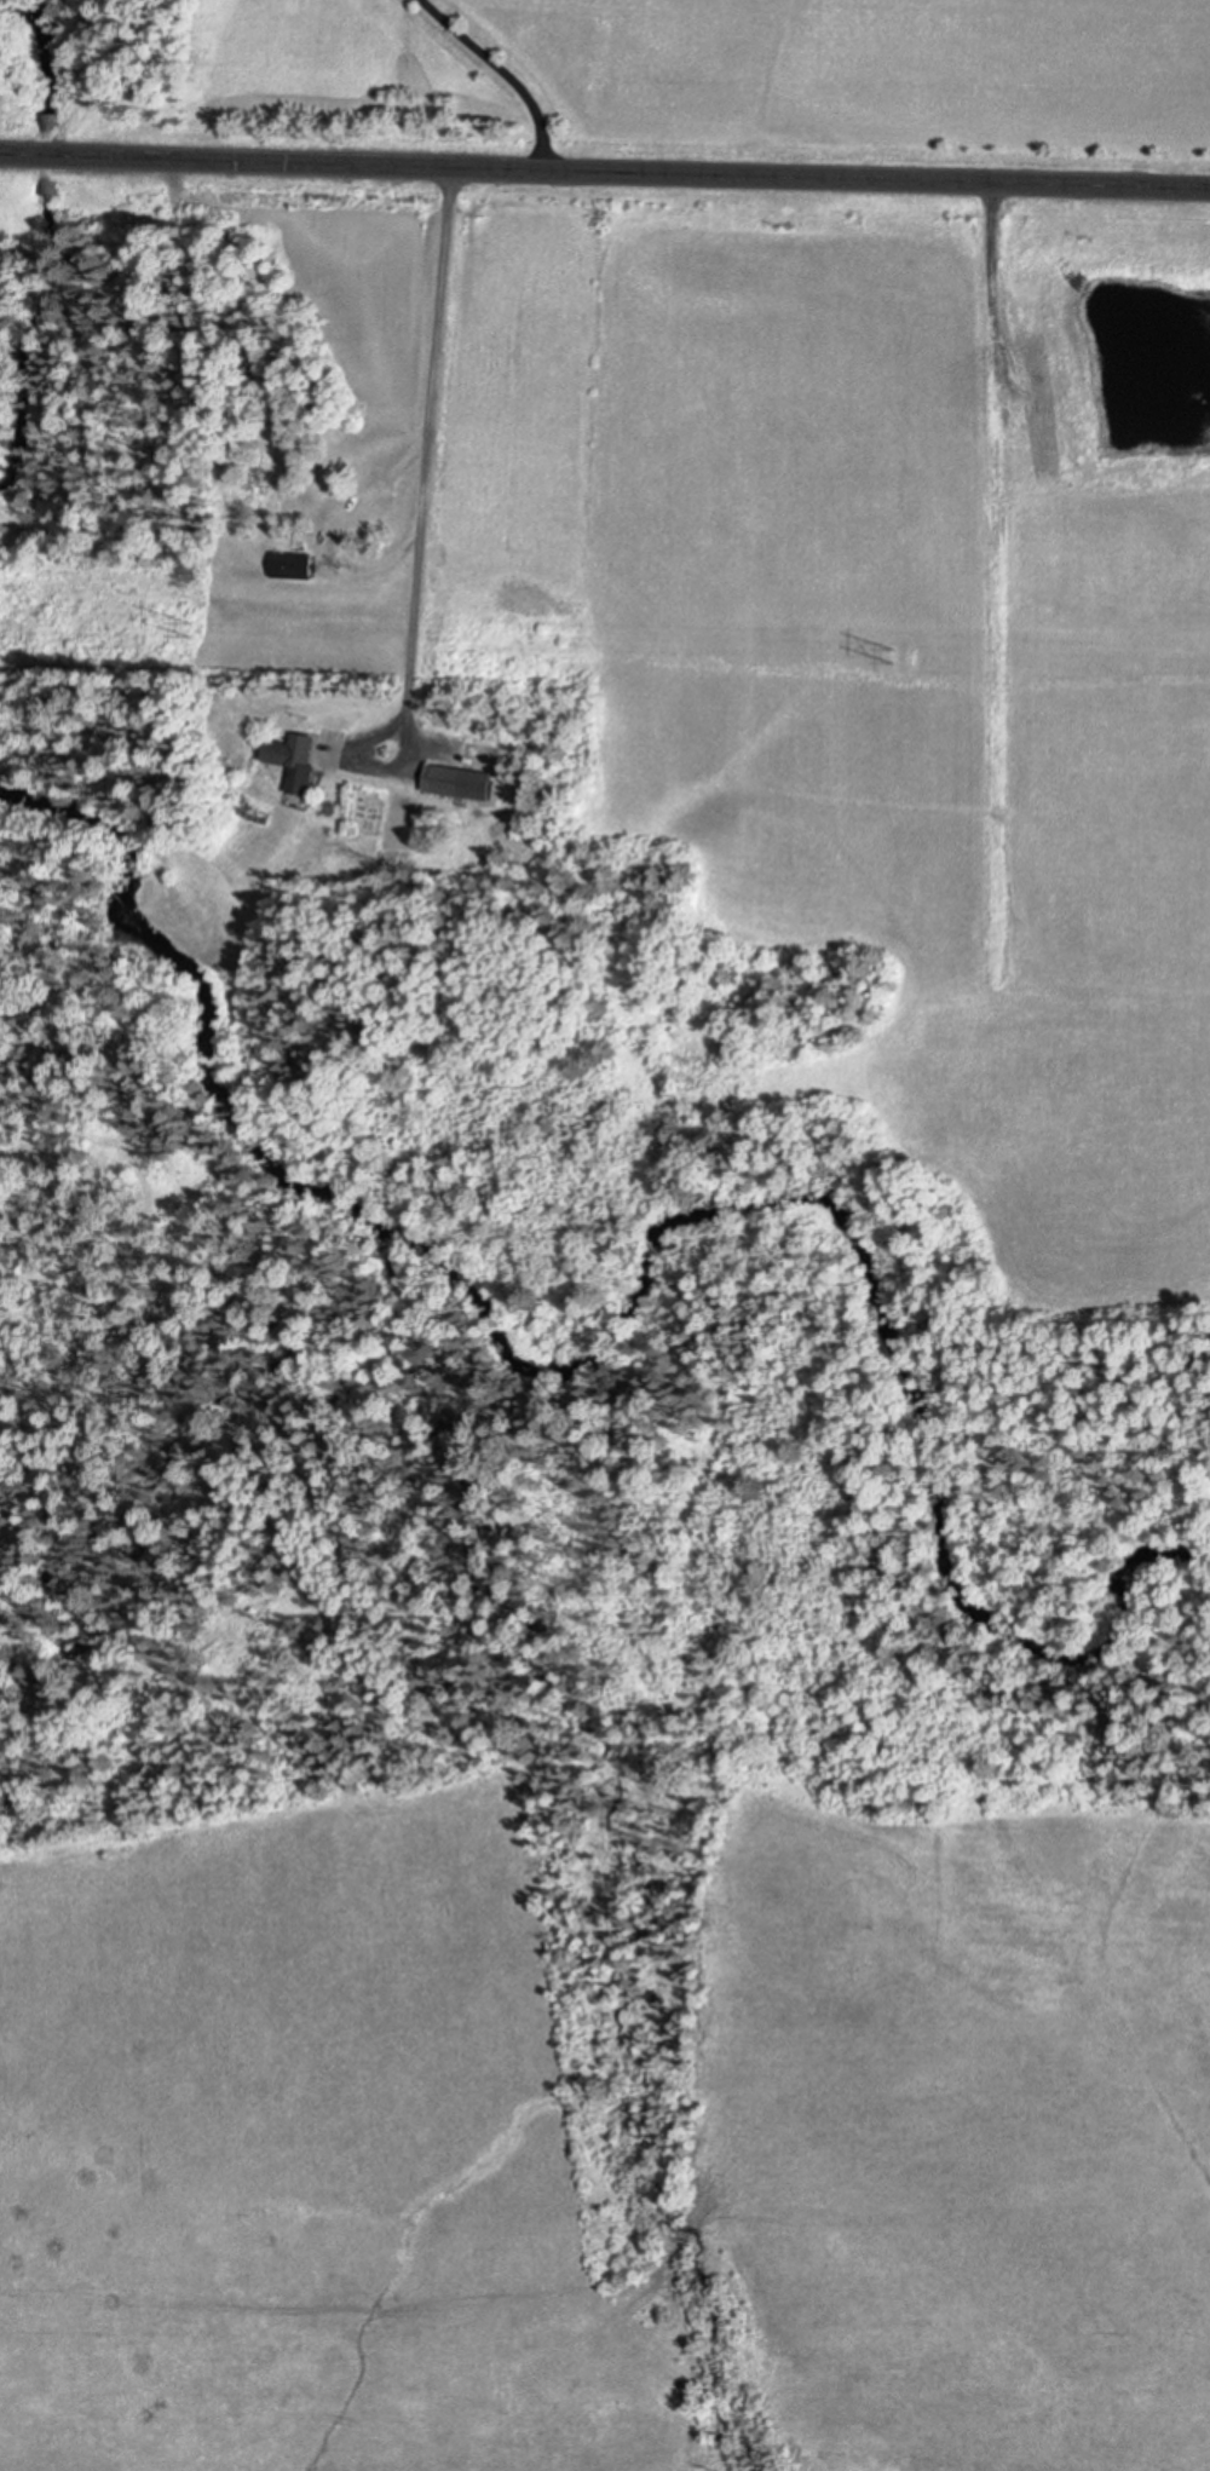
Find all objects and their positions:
river: (54, 53)
road: (503, 74)
building: (51, 123)
river: (52, 154)
road: (604, 173)
river: (45, 351)
road: (427, 465)
building: (277, 484)
building: (295, 564)
power tower: (200, 633)
power tower: (911, 659)
building: (485, 756)
building: (300, 760)
building: (463, 782)
river: (133, 949)
river: (824, 1229)

